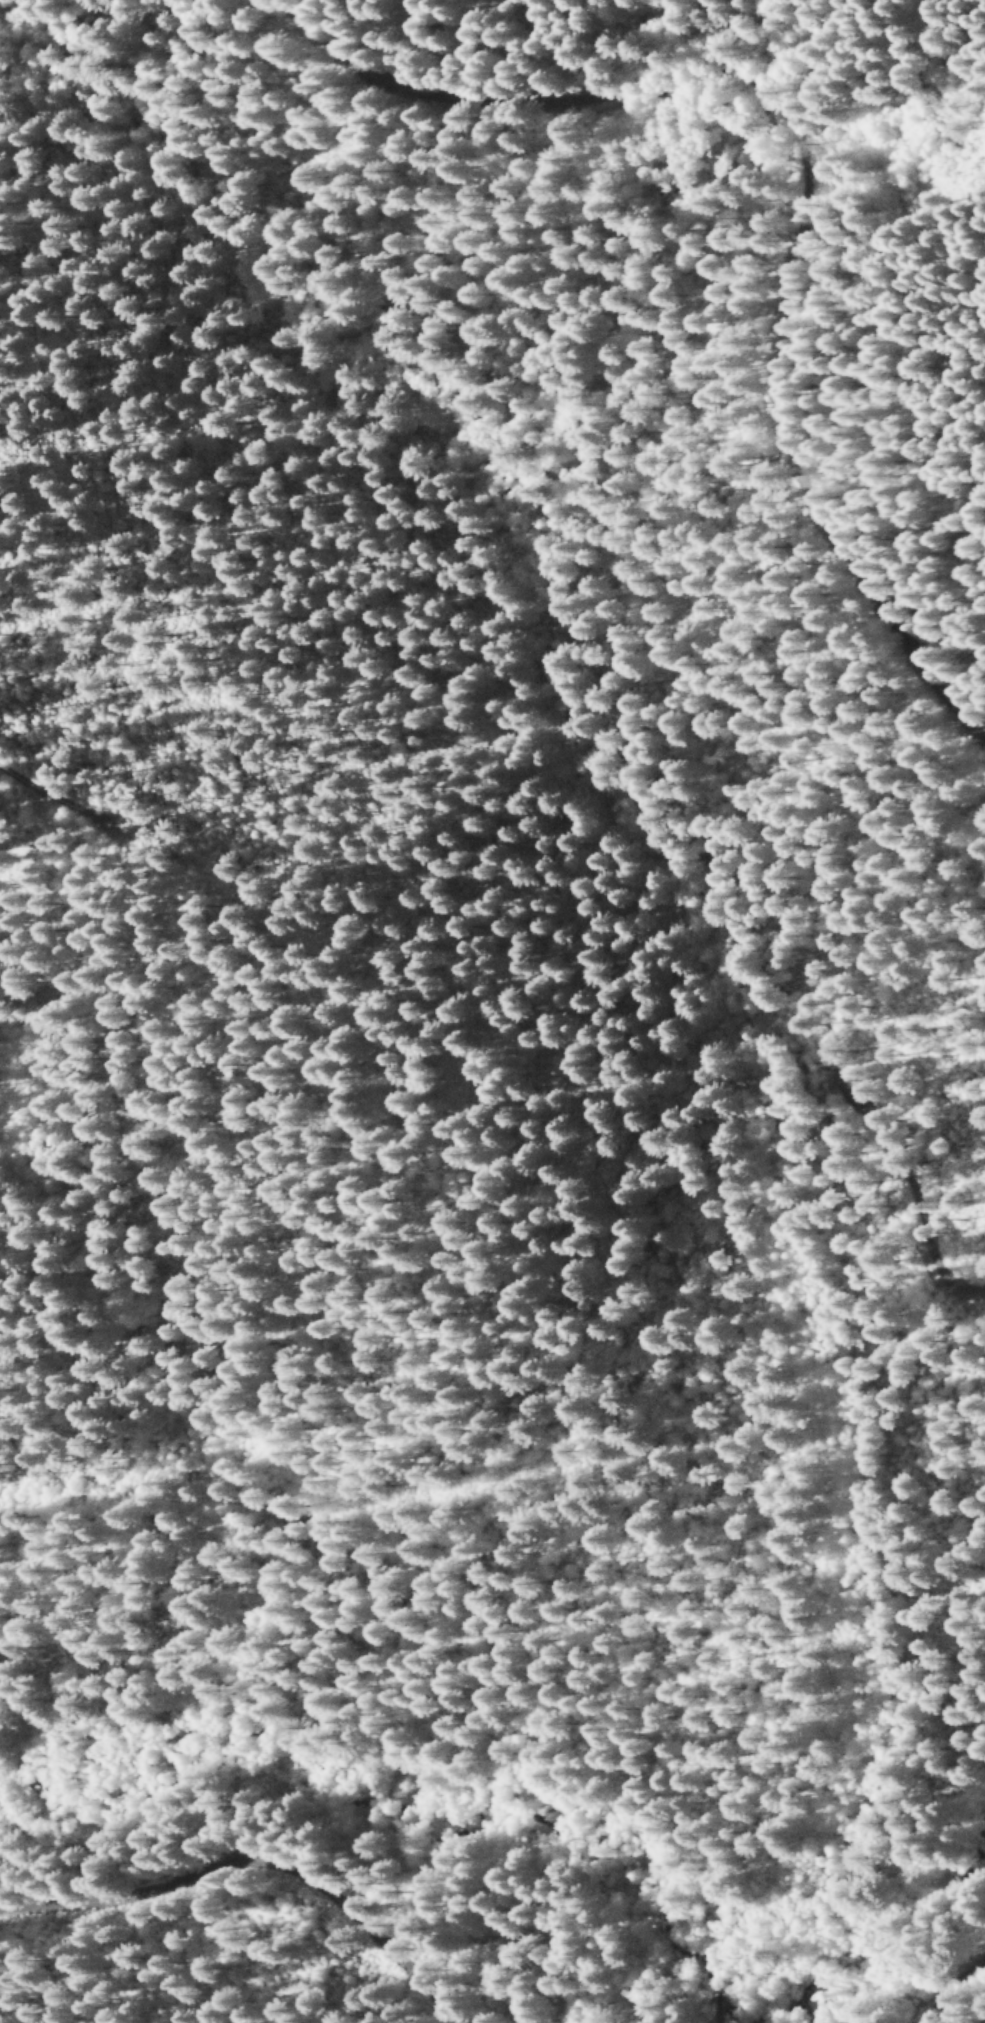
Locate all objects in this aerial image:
road: (744, 156)
road: (56, 798)
river: (515, 1813)
road: (241, 1867)
road: (954, 1993)

